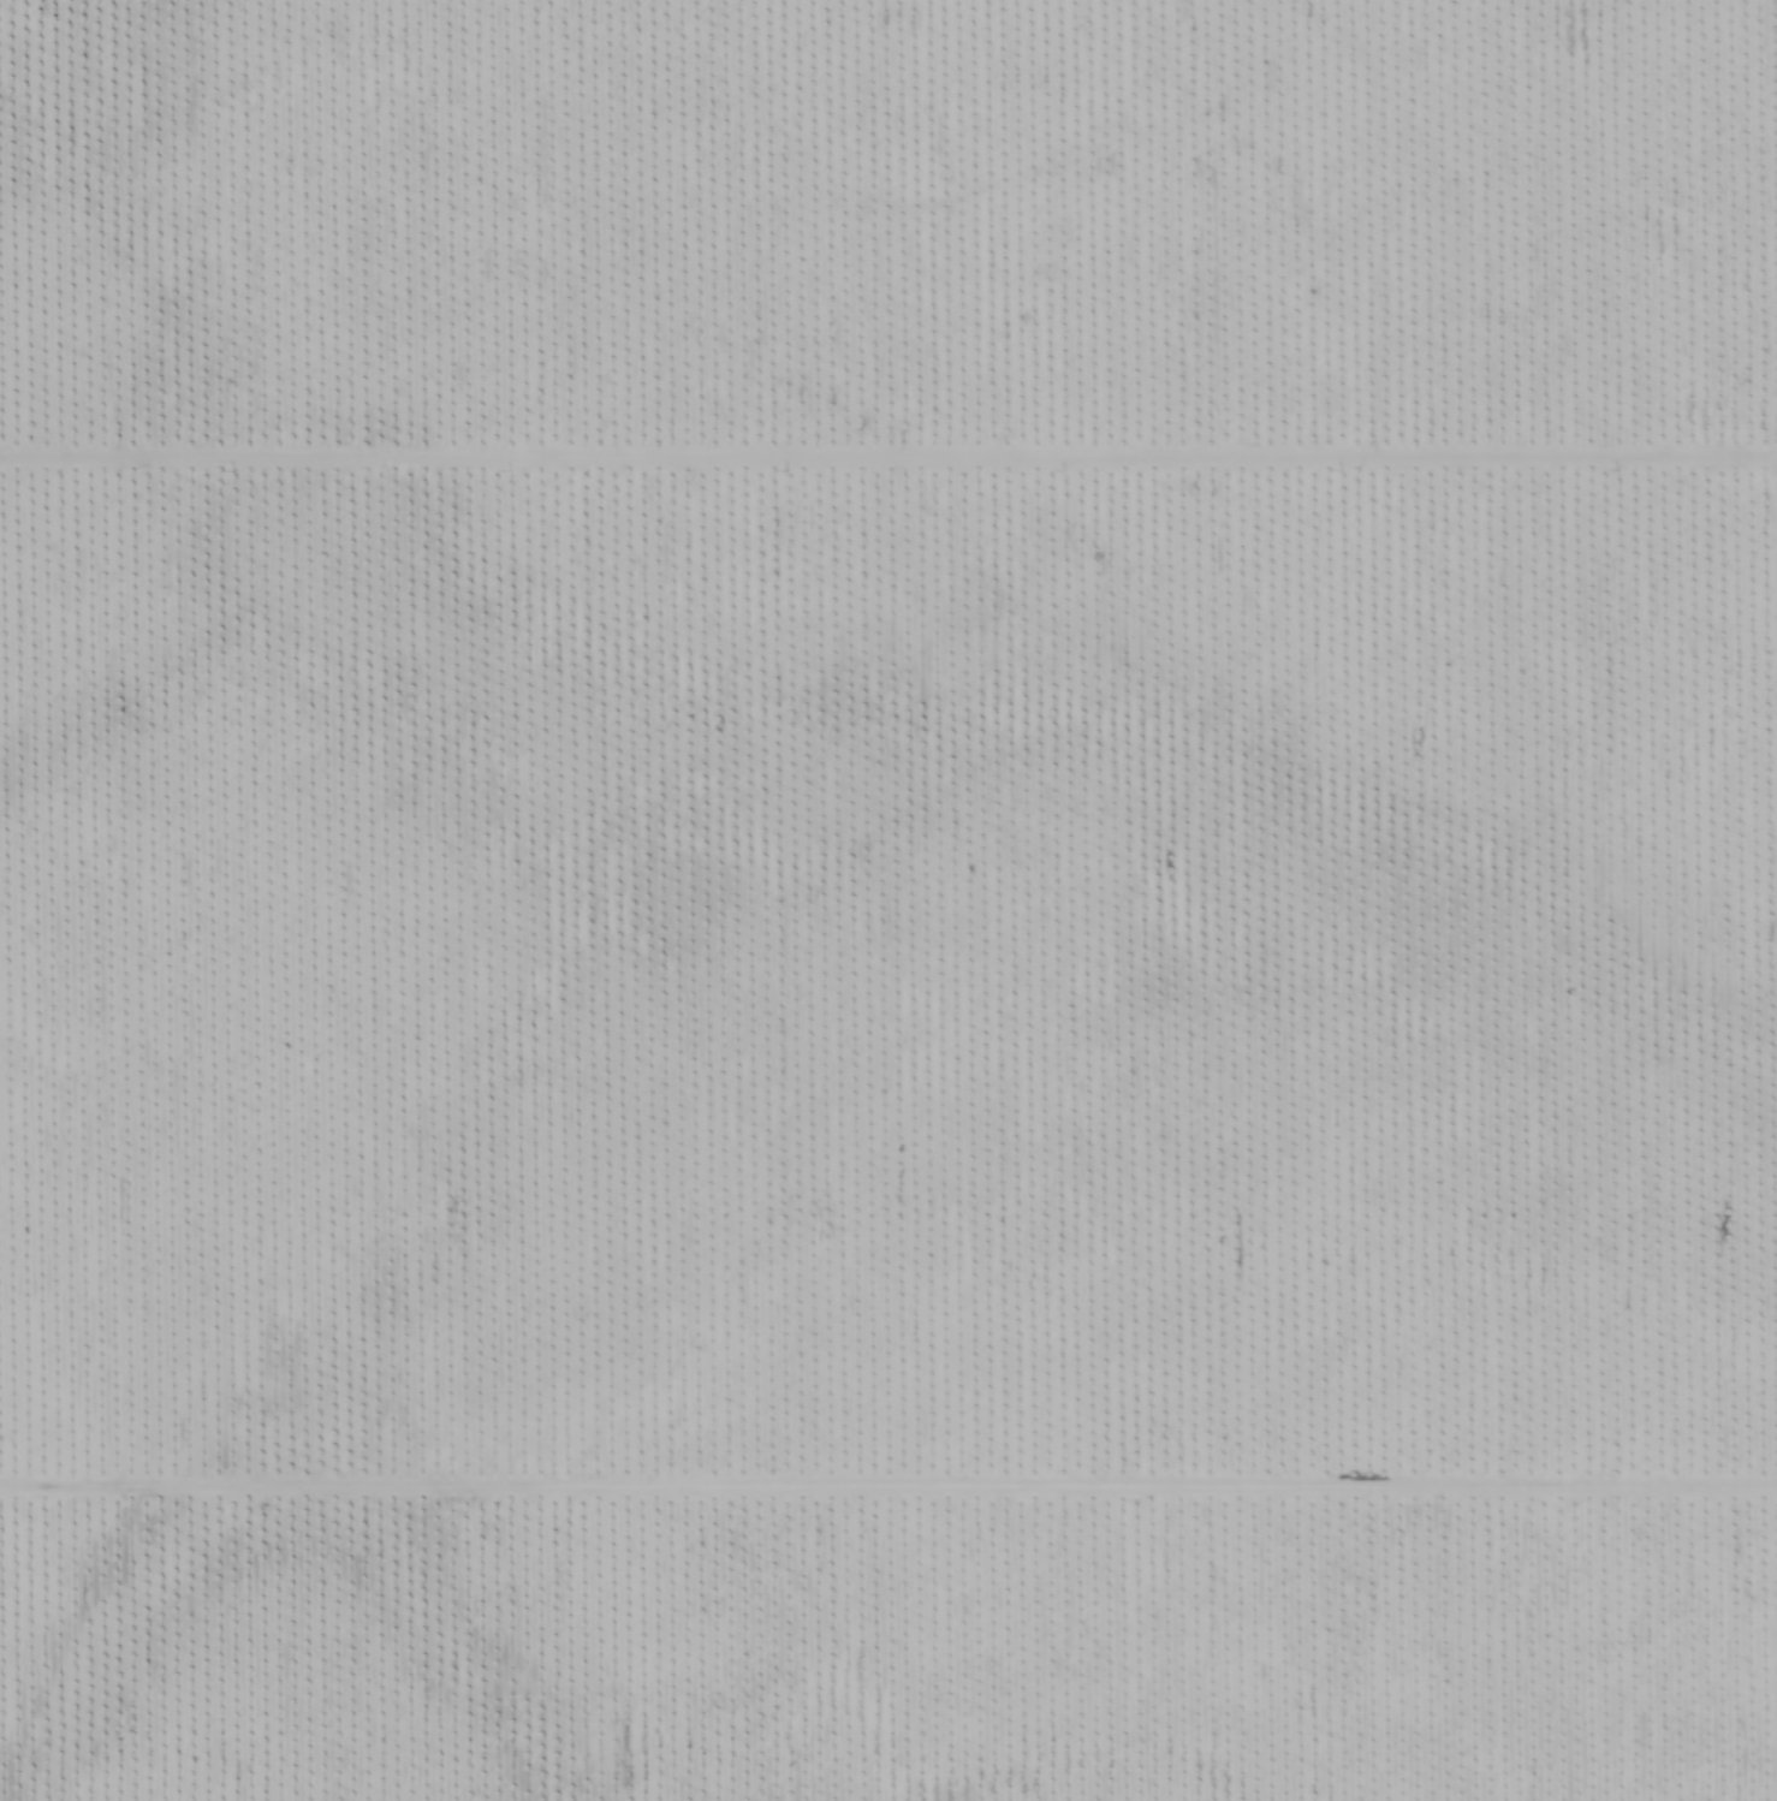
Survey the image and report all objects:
crop: (19, 470)

